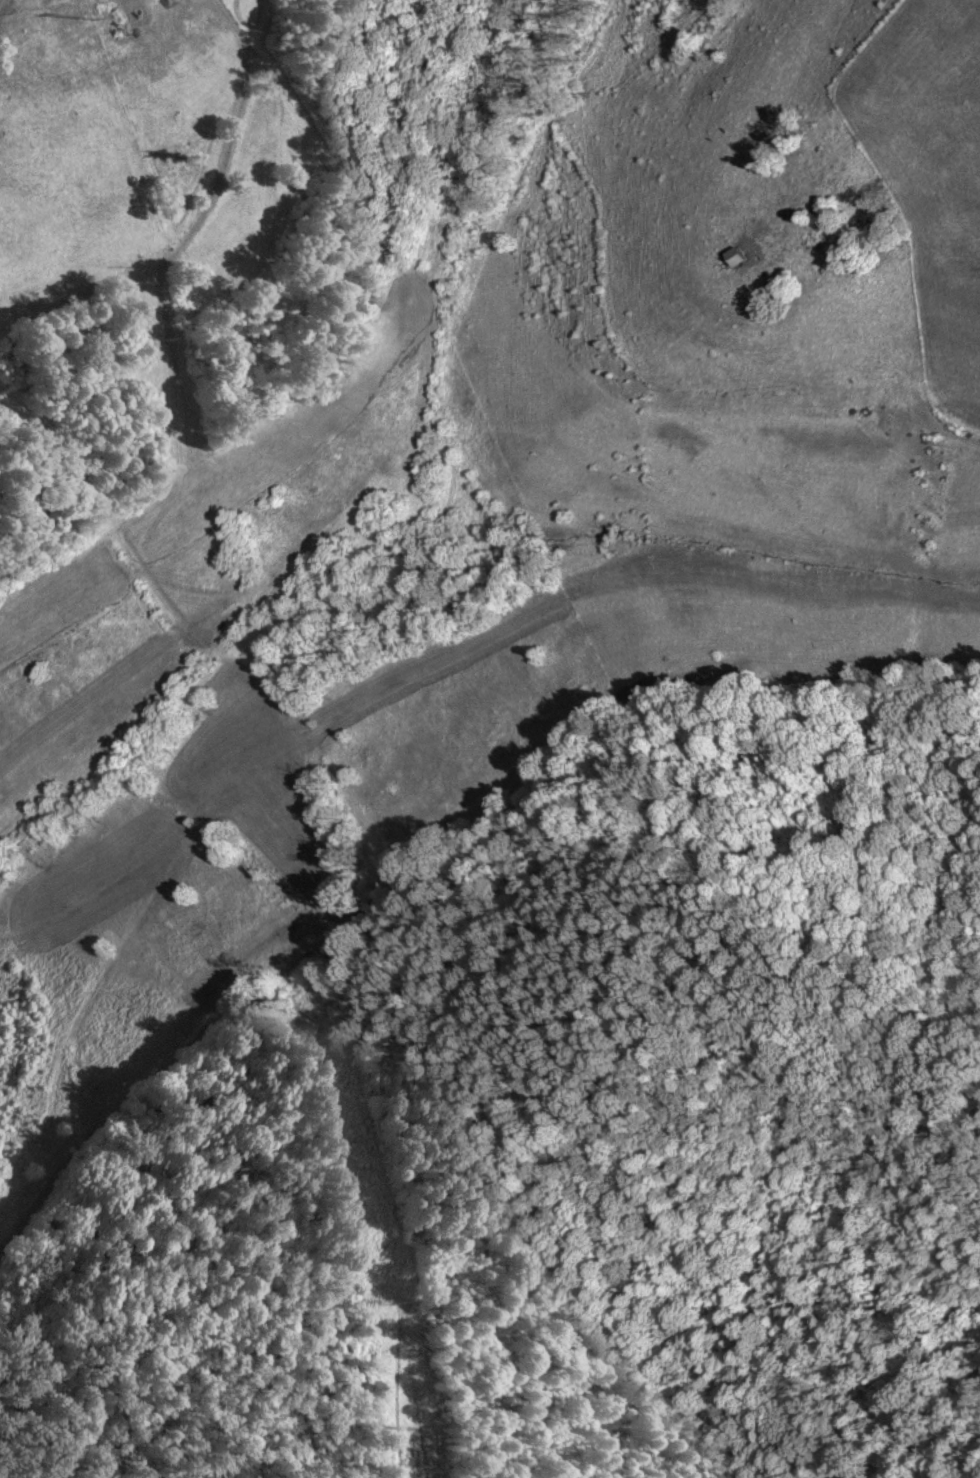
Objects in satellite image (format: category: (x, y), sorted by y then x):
building: (742, 258)

